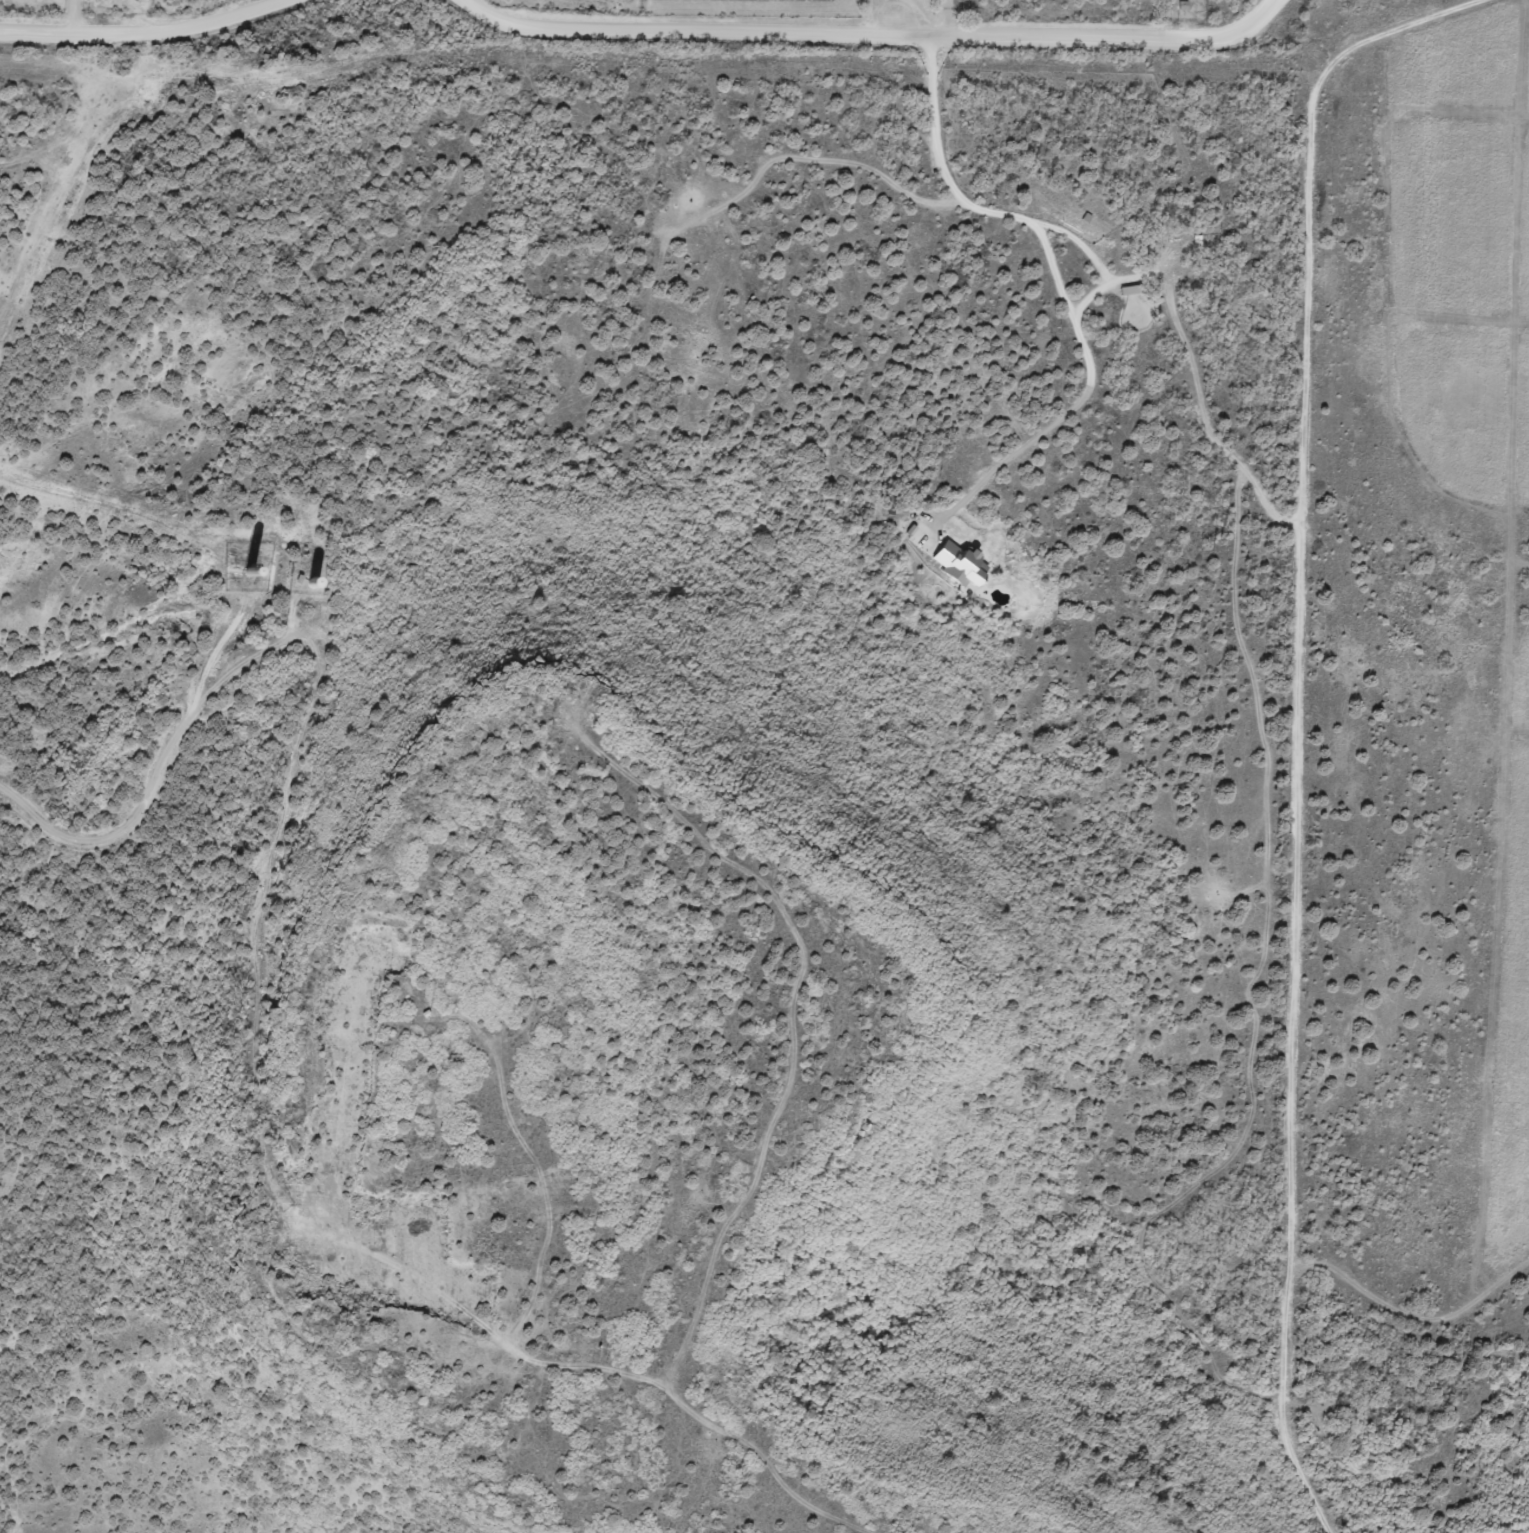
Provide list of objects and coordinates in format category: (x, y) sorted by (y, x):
road: (1275, 7)
road: (644, 31)
building: (1146, 250)
building: (945, 555)
road: (1242, 870)
road: (260, 1115)

